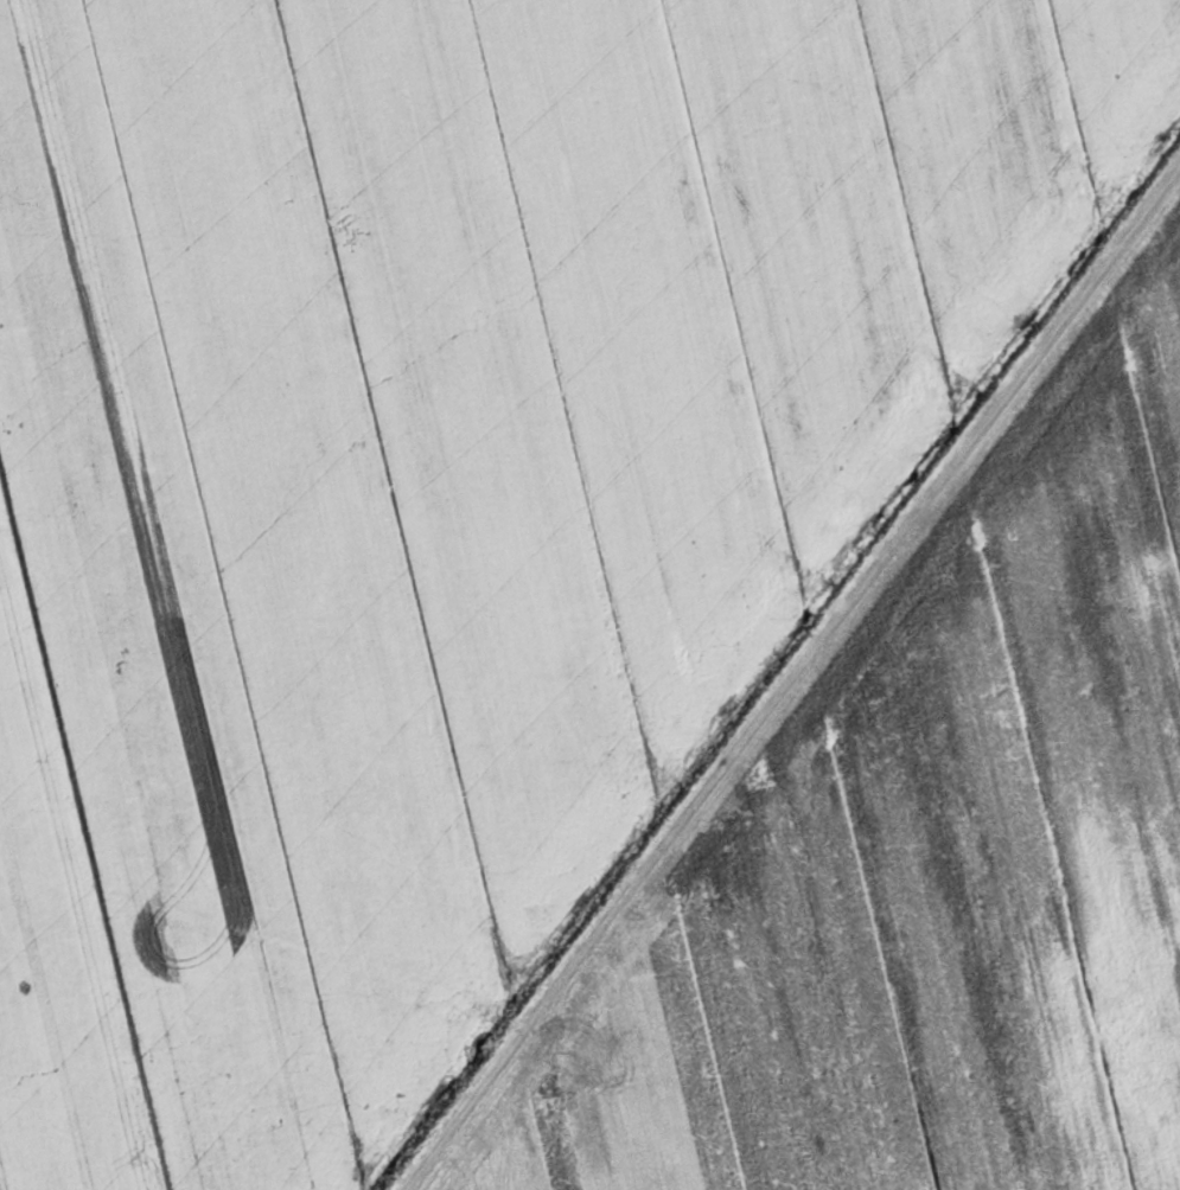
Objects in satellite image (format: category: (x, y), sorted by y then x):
crop: (440, 485)
crop: (920, 850)

